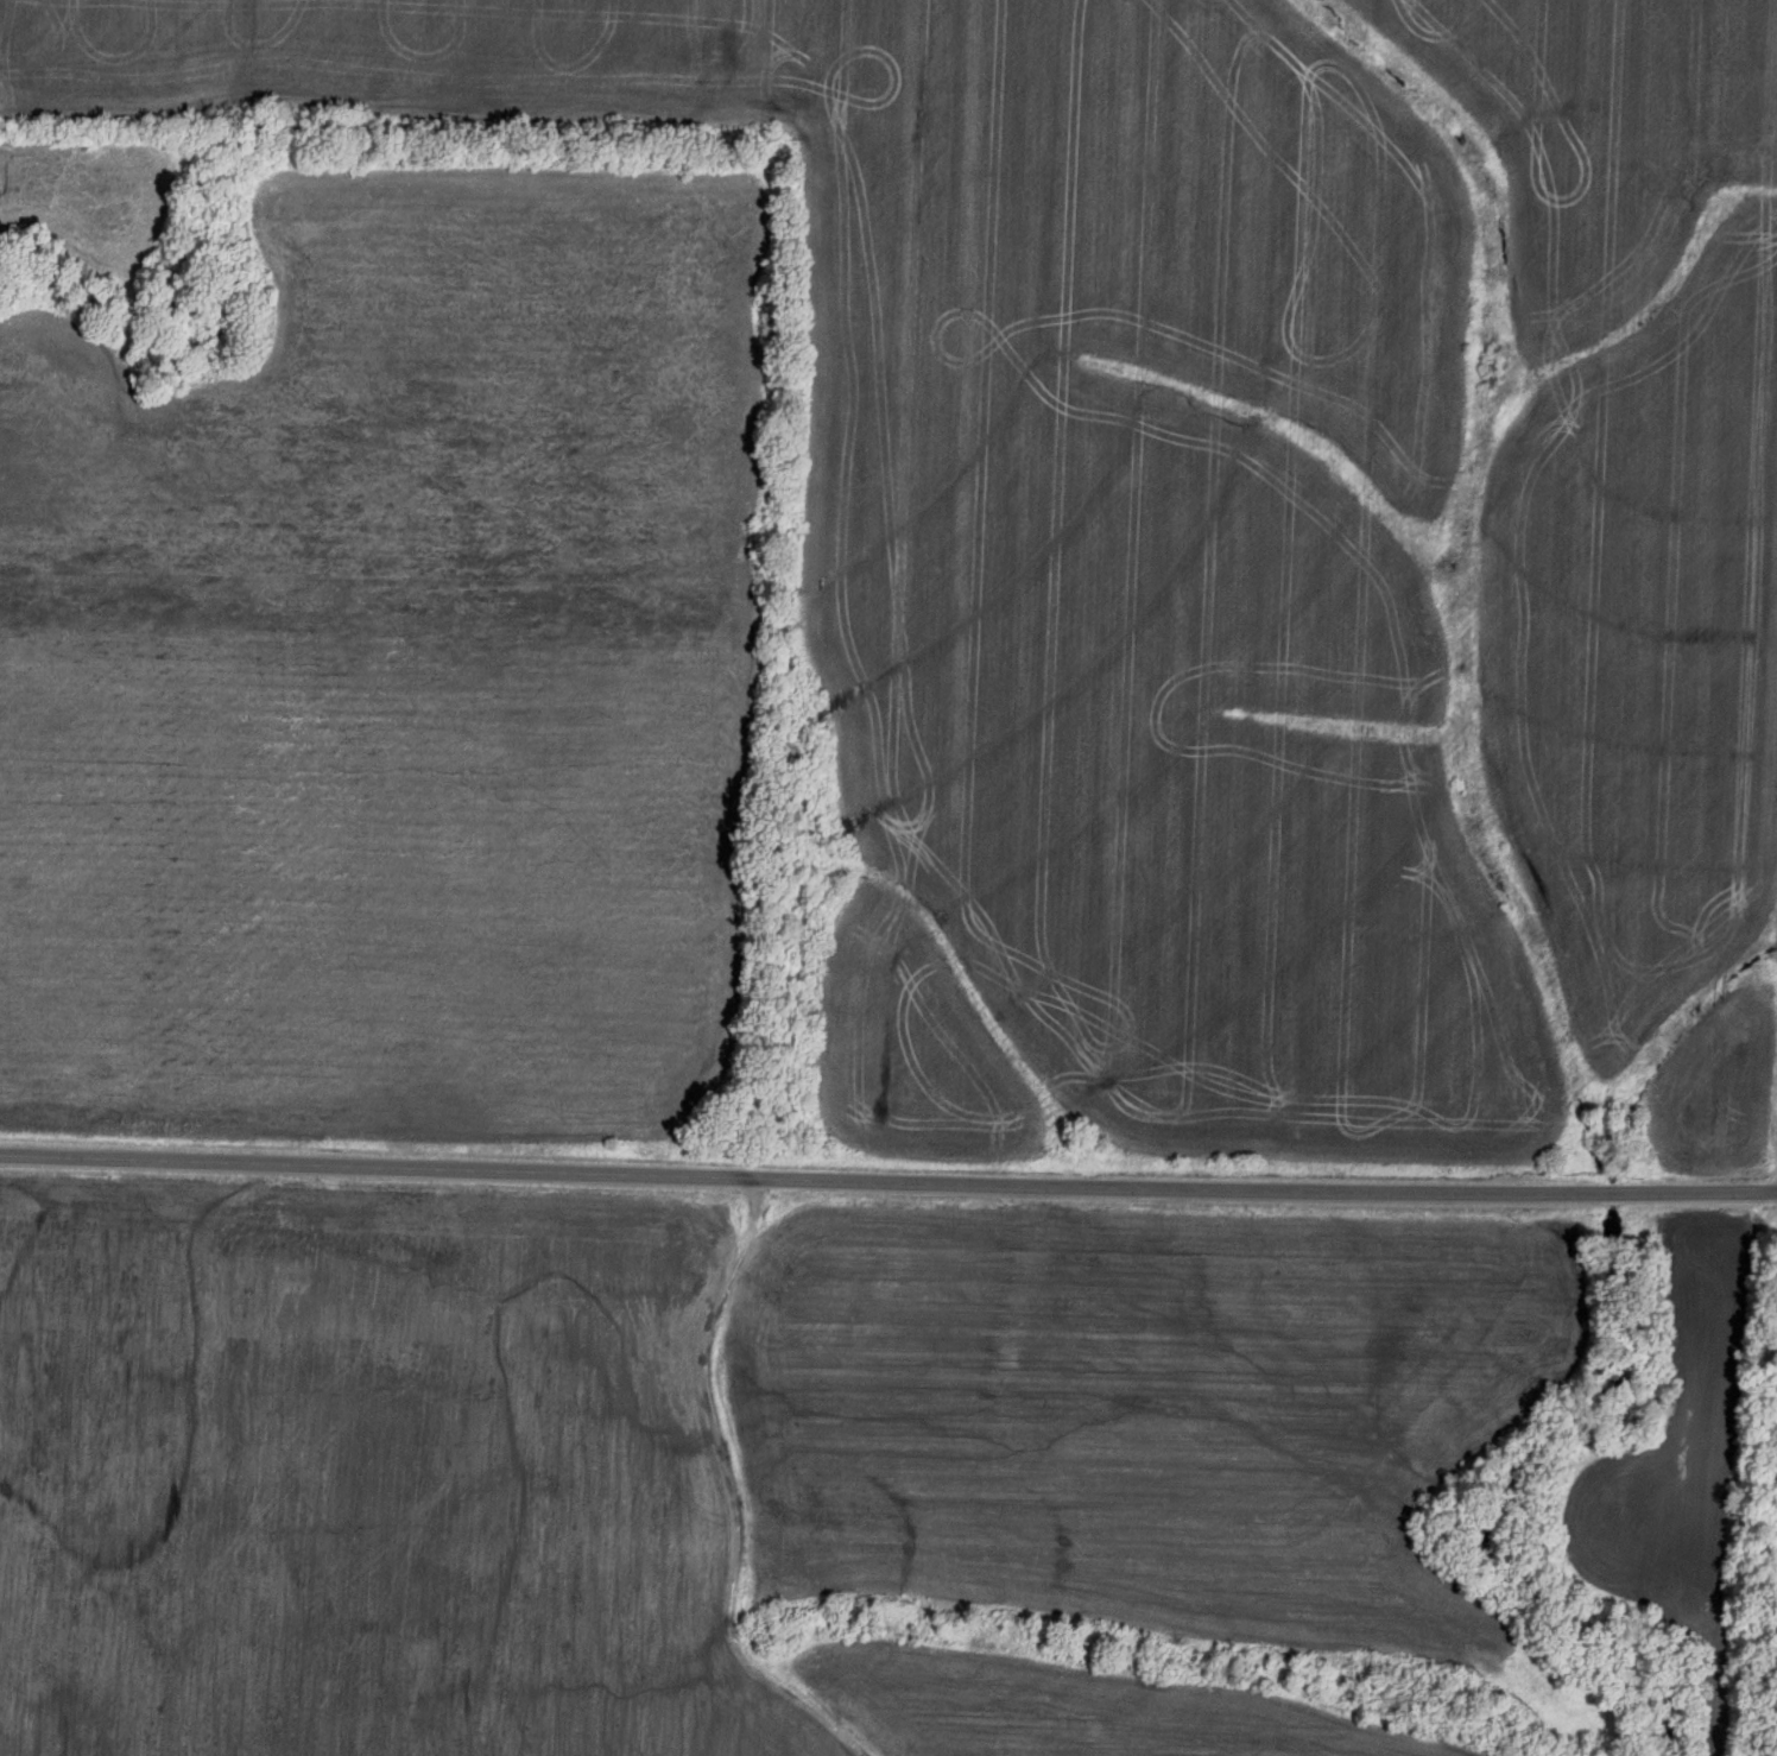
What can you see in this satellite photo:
road: (888, 1177)

